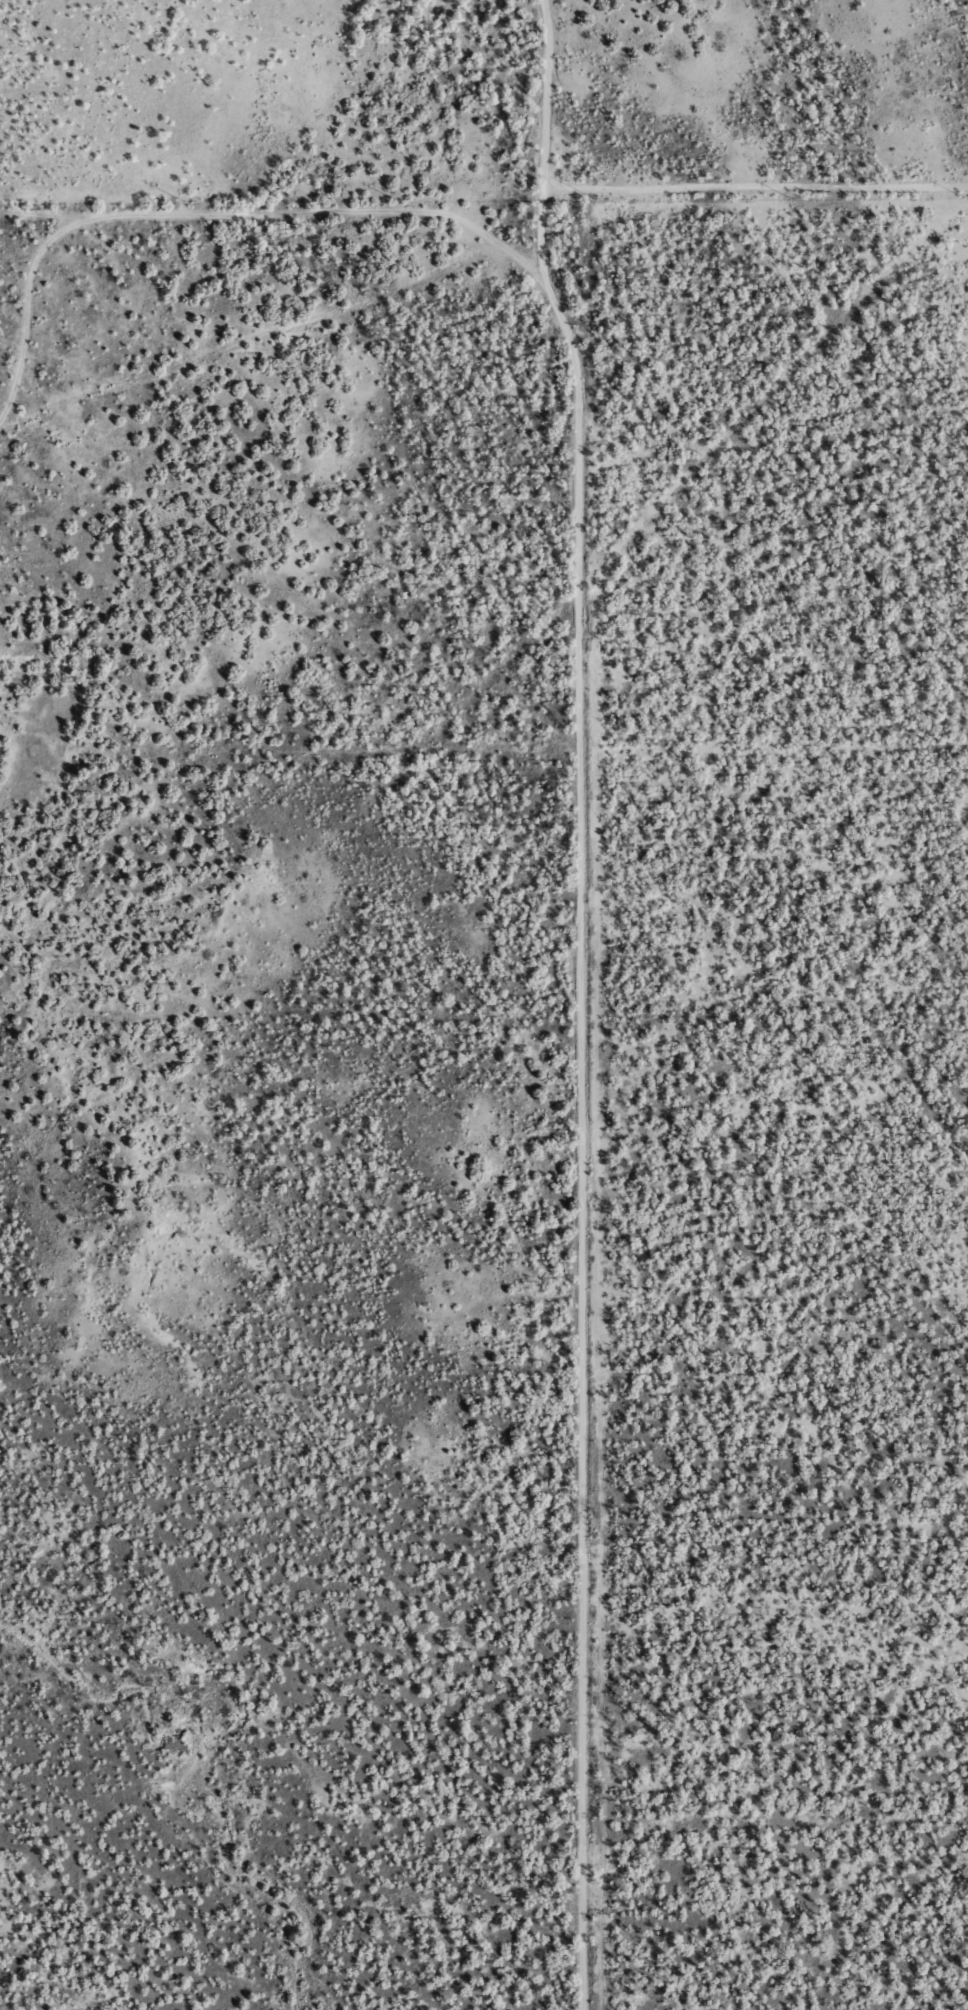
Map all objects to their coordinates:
road: (248, 361)
road: (587, 998)

